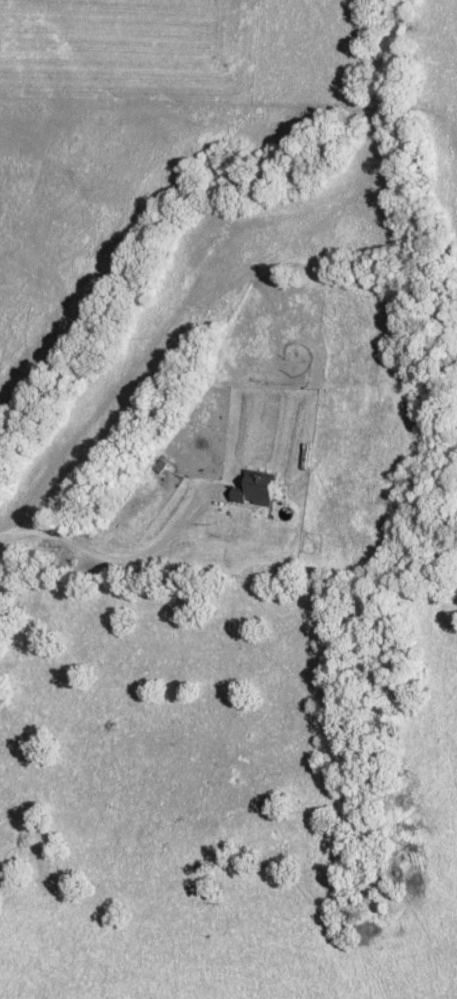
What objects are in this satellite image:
building: (250, 488)

